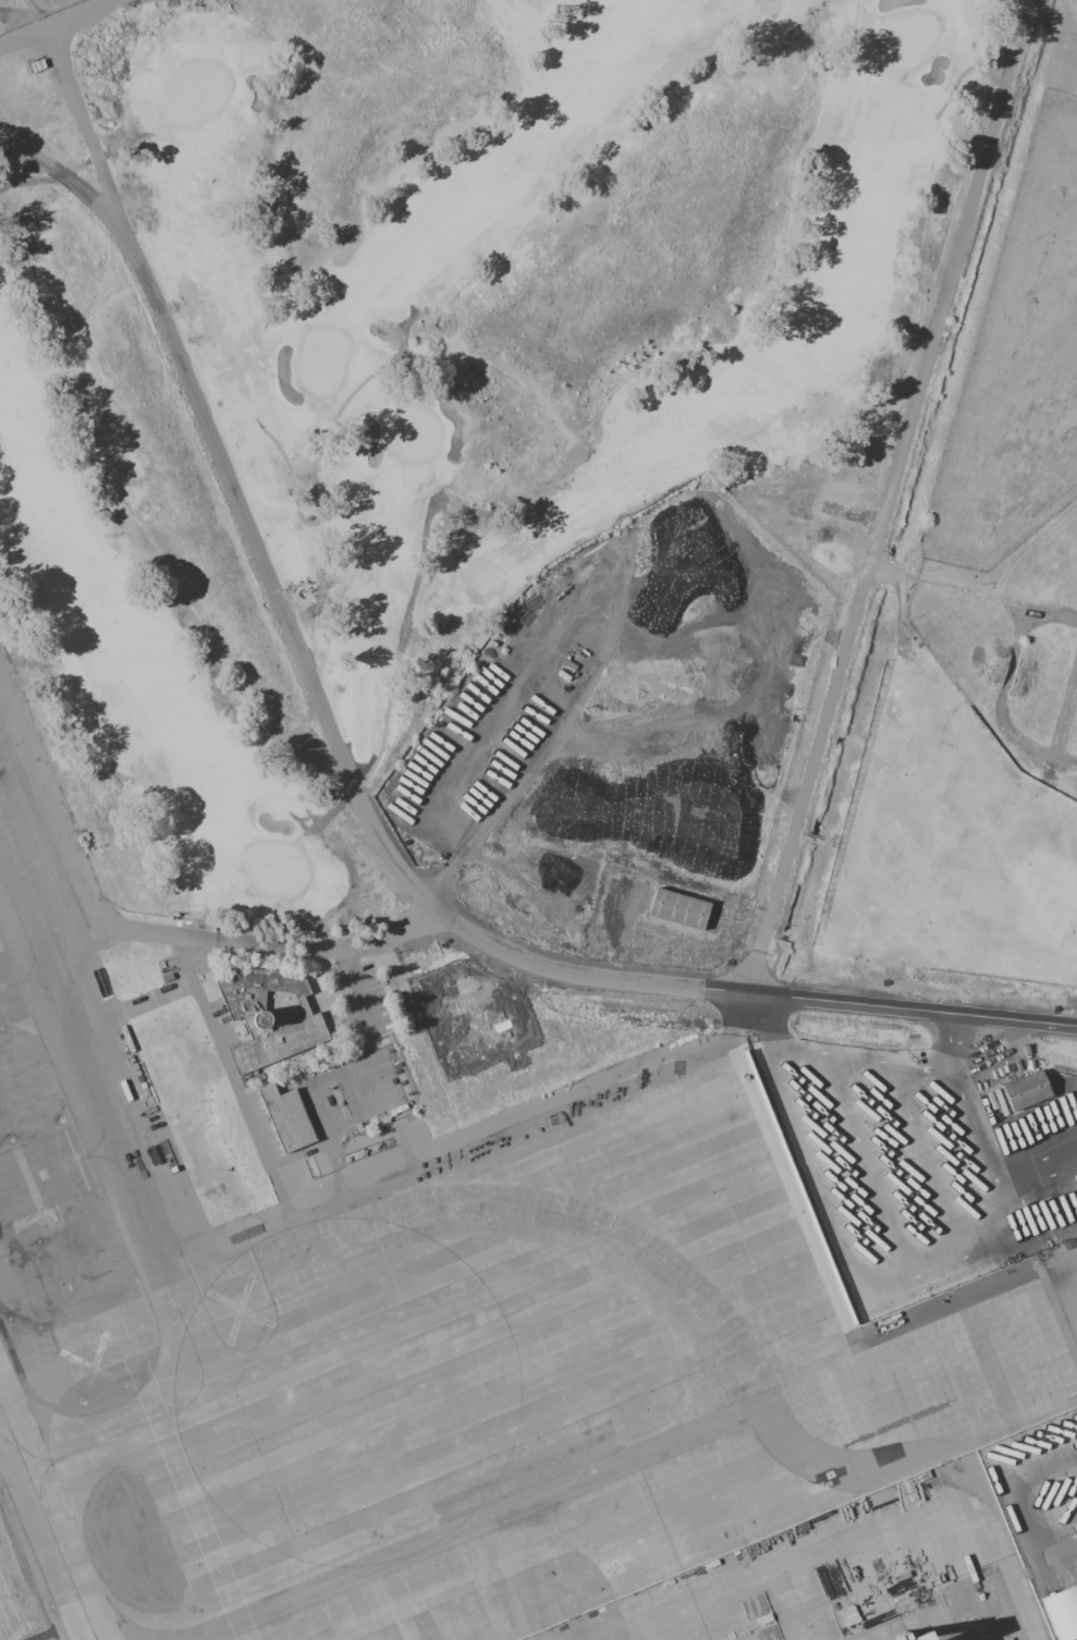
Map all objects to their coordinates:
road: (59, 24)
road: (95, 149)
park: (408, 365)
road: (890, 497)
road: (974, 591)
road: (303, 659)
road: (526, 767)
park: (947, 854)
building: (677, 909)
road: (914, 1011)
building: (268, 1015)
road: (952, 1040)
road: (861, 1061)
building: (1024, 1090)
building: (285, 1118)
road: (979, 1124)
parking lot: (923, 1158)
road: (922, 1159)
road: (861, 1166)
road: (1040, 1167)
road: (842, 1250)
airport: (448, 1311)
airport apron: (477, 1358)
road: (1013, 1509)
parking lot: (1040, 1512)
airport taxiway: (48, 1520)
building: (1061, 1616)
airport hangar: (890, 1635)
building: (890, 1635)
airport hangar: (962, 1638)
building: (962, 1638)

